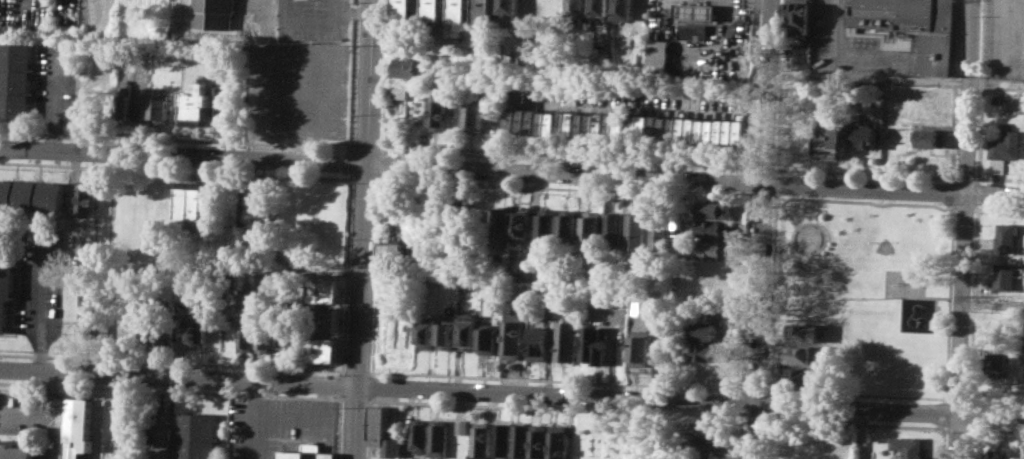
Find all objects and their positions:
building: (508, 8)
building: (600, 8)
building: (624, 9)
building: (405, 10)
building: (435, 10)
building: (485, 11)
building: (554, 11)
building: (578, 11)
building: (696, 11)
gas station: (696, 11)
building: (461, 12)
building: (215, 13)
building: (799, 16)
road: (266, 18)
building: (914, 26)
building: (693, 31)
parking lot: (1004, 39)
building: (659, 55)
building: (801, 56)
building: (409, 66)
road: (352, 76)
road: (383, 76)
building: (15, 79)
road: (896, 80)
parking lot: (55, 82)
road: (754, 84)
building: (397, 91)
road: (965, 96)
building: (222, 98)
building: (996, 98)
road: (54, 99)
building: (195, 105)
building: (122, 106)
building: (158, 110)
building: (441, 114)
building: (930, 116)
building: (474, 117)
building: (564, 123)
building: (686, 128)
building: (864, 136)
building: (929, 137)
road: (175, 138)
building: (830, 139)
building: (1006, 145)
road: (351, 149)
road: (364, 149)
road: (566, 159)
road: (349, 162)
road: (380, 163)
road: (764, 168)
road: (482, 169)
road: (774, 169)
road: (780, 169)
road: (349, 174)
road: (963, 178)
road: (998, 178)
road: (751, 182)
road: (565, 188)
road: (973, 192)
road: (994, 194)
building: (31, 197)
building: (85, 198)
building: (191, 202)
building: (256, 204)
road: (781, 204)
building: (714, 209)
road: (1000, 209)
building: (451, 218)
building: (459, 219)
building: (500, 222)
building: (522, 223)
building: (547, 223)
building: (568, 225)
building: (590, 227)
building: (713, 228)
road: (363, 229)
road: (763, 229)
building: (612, 230)
building: (633, 230)
building: (658, 231)
building: (1007, 236)
park: (884, 246)
building: (90, 247)
road: (819, 247)
building: (712, 248)
building: (391, 254)
road: (345, 269)
building: (580, 272)
road: (375, 274)
building: (1004, 276)
building: (6, 278)
parking lot: (42, 279)
park: (872, 287)
building: (326, 289)
road: (746, 293)
building: (246, 295)
road: (921, 296)
building: (617, 299)
road: (41, 301)
building: (90, 303)
road: (960, 303)
road: (972, 304)
road: (991, 305)
building: (645, 306)
building: (325, 319)
road: (934, 320)
building: (194, 324)
building: (146, 330)
building: (706, 330)
building: (470, 331)
building: (407, 332)
building: (803, 332)
building: (427, 333)
building: (447, 335)
building: (244, 337)
building: (262, 338)
building: (490, 339)
building: (291, 340)
building: (513, 340)
building: (540, 340)
building: (568, 340)
building: (598, 345)
building: (322, 349)
building: (643, 349)
park: (879, 349)
building: (703, 351)
building: (802, 354)
building: (998, 362)
road: (339, 372)
building: (1023, 373)
building: (802, 376)
road: (49, 382)
road: (338, 383)
road: (372, 386)
road: (199, 391)
road: (769, 392)
road: (477, 395)
road: (940, 395)
road: (339, 397)
road: (945, 397)
road: (355, 399)
road: (955, 399)
road: (994, 401)
road: (742, 402)
road: (769, 405)
road: (556, 409)
parking lot: (27, 413)
road: (34, 414)
road: (968, 414)
road: (989, 415)
road: (754, 418)
road: (768, 418)
building: (462, 426)
building: (77, 427)
road: (369, 427)
road: (996, 430)
building: (384, 431)
building: (711, 431)
building: (420, 434)
building: (194, 435)
road: (741, 436)
road: (954, 436)
building: (439, 438)
building: (503, 439)
building: (482, 440)
building: (522, 441)
building: (541, 441)
road: (967, 441)
building: (560, 442)
building: (907, 446)
building: (15, 451)
building: (710, 451)
building: (308, 454)
building: (997, 454)

